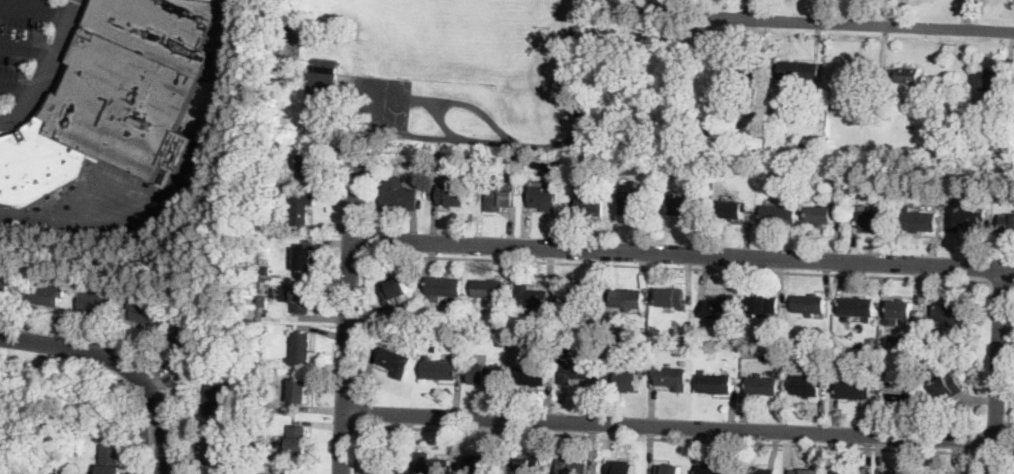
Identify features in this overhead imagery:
road: (38, 8)
road: (756, 9)
road: (874, 25)
road: (29, 47)
parking lot: (35, 53)
building: (740, 66)
road: (49, 69)
building: (799, 71)
building: (907, 75)
building: (278, 78)
road: (19, 83)
building: (989, 85)
building: (322, 86)
road: (572, 87)
building: (710, 87)
building: (116, 98)
building: (709, 100)
building: (788, 107)
building: (328, 112)
building: (720, 114)
building: (317, 122)
building: (939, 143)
building: (807, 150)
building: (1000, 154)
building: (388, 158)
building: (308, 168)
building: (633, 169)
building: (622, 170)
road: (187, 188)
building: (398, 195)
building: (451, 195)
building: (497, 197)
building: (544, 198)
building: (636, 200)
building: (590, 205)
building: (683, 205)
building: (300, 208)
building: (733, 209)
building: (779, 214)
building: (822, 214)
building: (873, 217)
building: (963, 217)
building: (918, 220)
building: (1007, 223)
road: (682, 254)
building: (305, 259)
road: (677, 269)
road: (1002, 283)
building: (3, 287)
building: (444, 288)
building: (396, 290)
building: (490, 290)
building: (43, 293)
building: (300, 297)
building: (584, 297)
building: (671, 297)
building: (533, 298)
building: (626, 299)
building: (94, 302)
building: (808, 304)
building: (764, 305)
building: (856, 307)
building: (719, 308)
building: (900, 310)
building: (147, 312)
road: (349, 313)
building: (951, 316)
building: (567, 319)
building: (528, 320)
building: (615, 326)
road: (361, 327)
building: (729, 332)
building: (688, 335)
building: (189, 338)
building: (887, 341)
building: (500, 342)
building: (607, 342)
building: (899, 342)
building: (263, 345)
building: (300, 349)
building: (563, 349)
road: (132, 353)
building: (956, 358)
building: (394, 361)
building: (684, 362)
building: (846, 364)
road: (120, 365)
building: (39, 368)
building: (438, 369)
building: (572, 370)
road: (997, 371)
building: (772, 373)
building: (263, 374)
building: (484, 374)
building: (531, 376)
building: (671, 377)
building: (626, 381)
building: (714, 382)
building: (807, 384)
building: (761, 385)
building: (945, 386)
building: (854, 388)
building: (298, 391)
building: (899, 391)
road: (1010, 392)
building: (216, 399)
road: (358, 414)
building: (268, 419)
road: (669, 430)
road: (647, 438)
building: (296, 439)
building: (216, 451)
building: (109, 460)
building: (431, 464)
building: (482, 464)
building: (383, 465)
building: (527, 465)
building: (569, 466)
building: (620, 468)
building: (287, 469)
building: (669, 469)
building: (711, 469)
building: (756, 470)
building: (803, 472)
building: (838, 472)
building: (895, 473)

